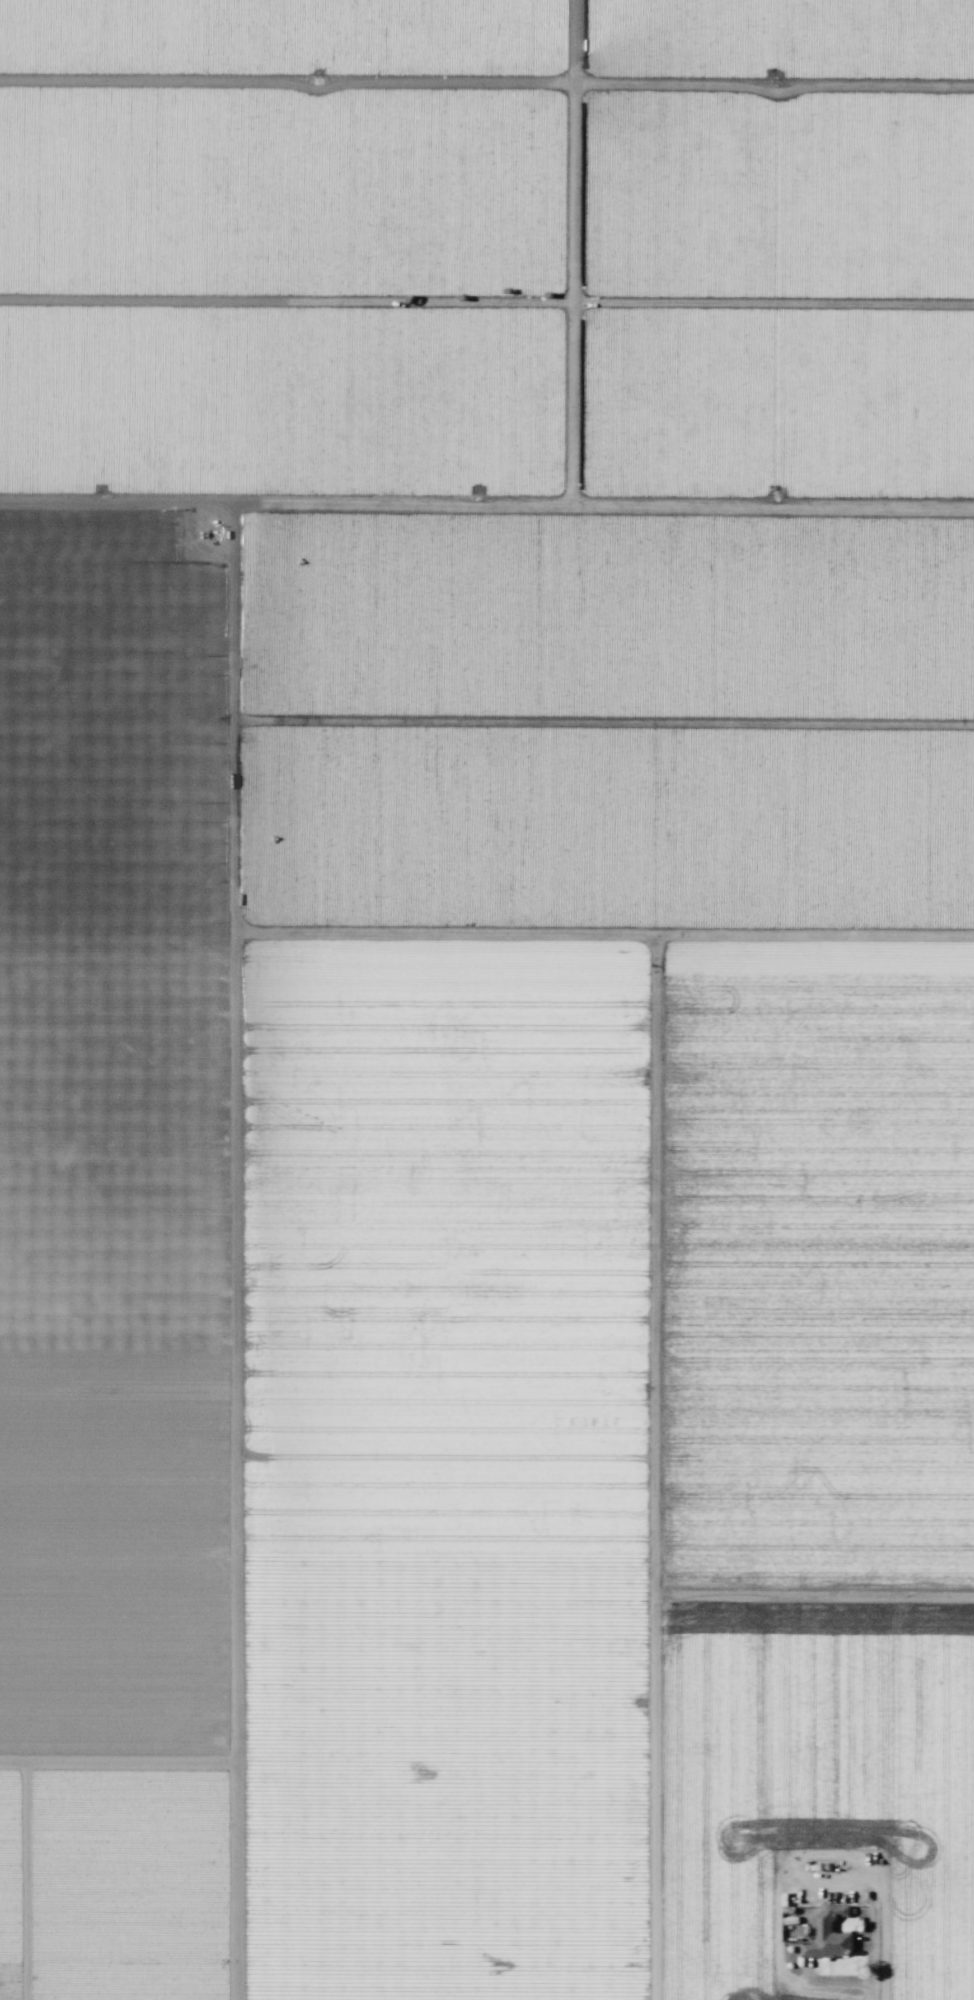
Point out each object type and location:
crop: (487, 1000)
building: (822, 1940)

